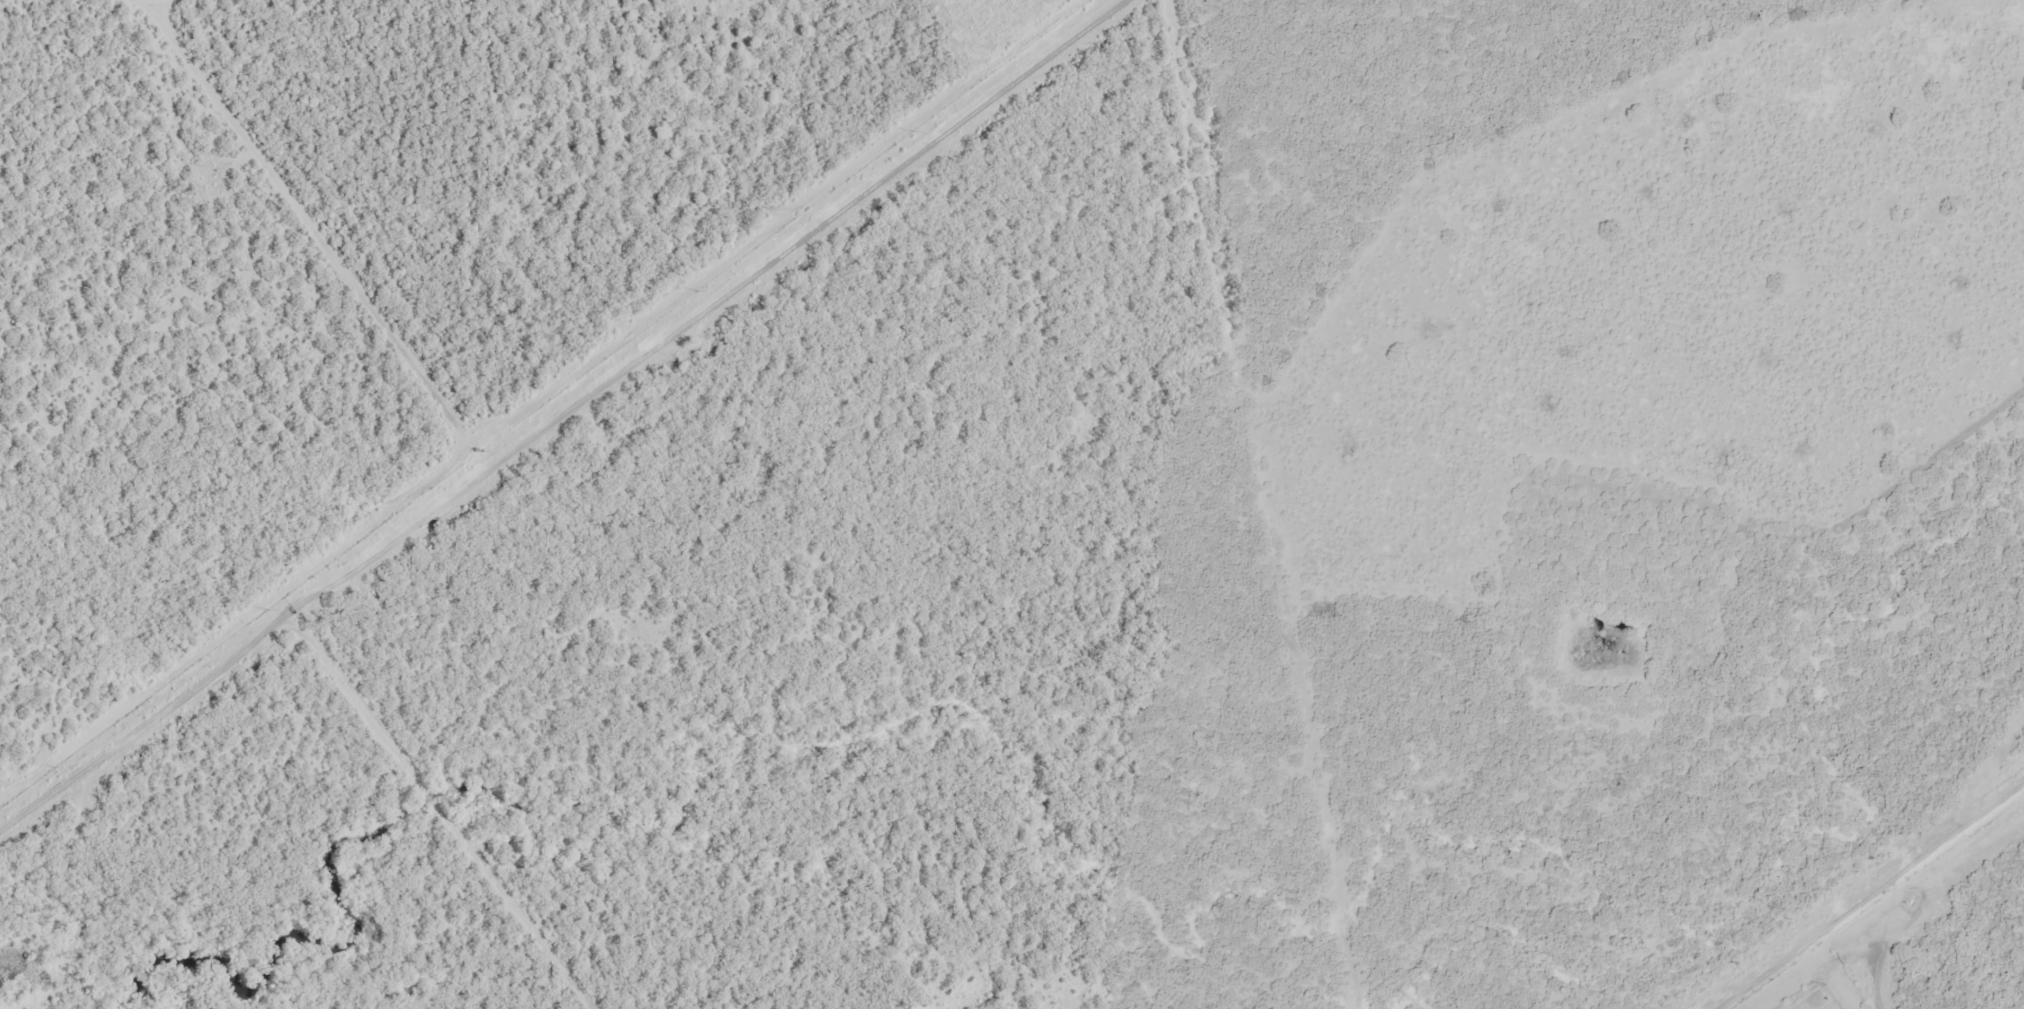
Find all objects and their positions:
road: (568, 429)
road: (1905, 931)

